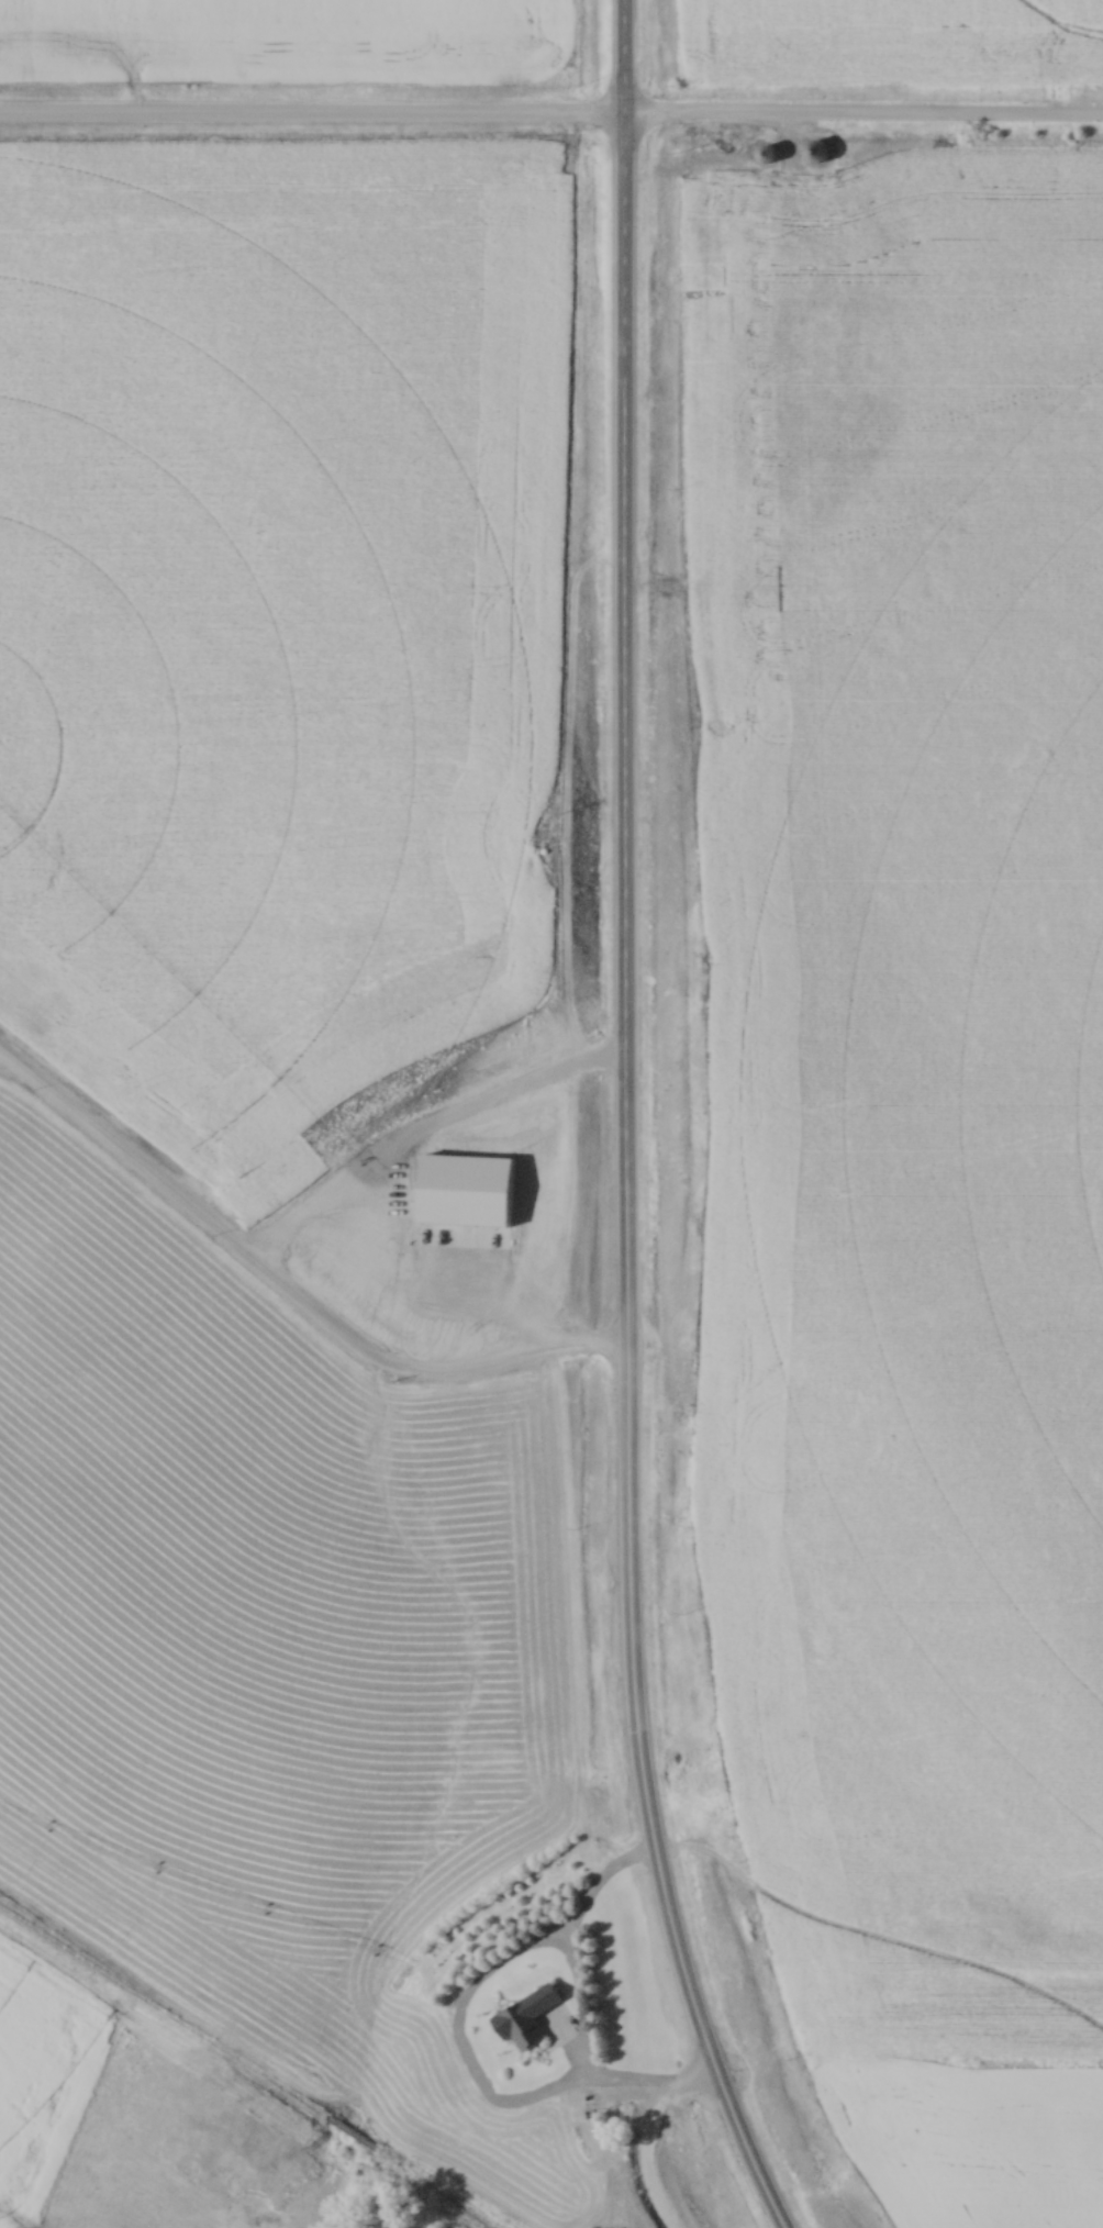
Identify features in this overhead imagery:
road: (864, 119)
road: (312, 122)
building: (812, 153)
building: (764, 156)
road: (625, 1125)
road: (286, 1296)
building: (523, 2017)
railway: (192, 2063)
road: (648, 2138)

